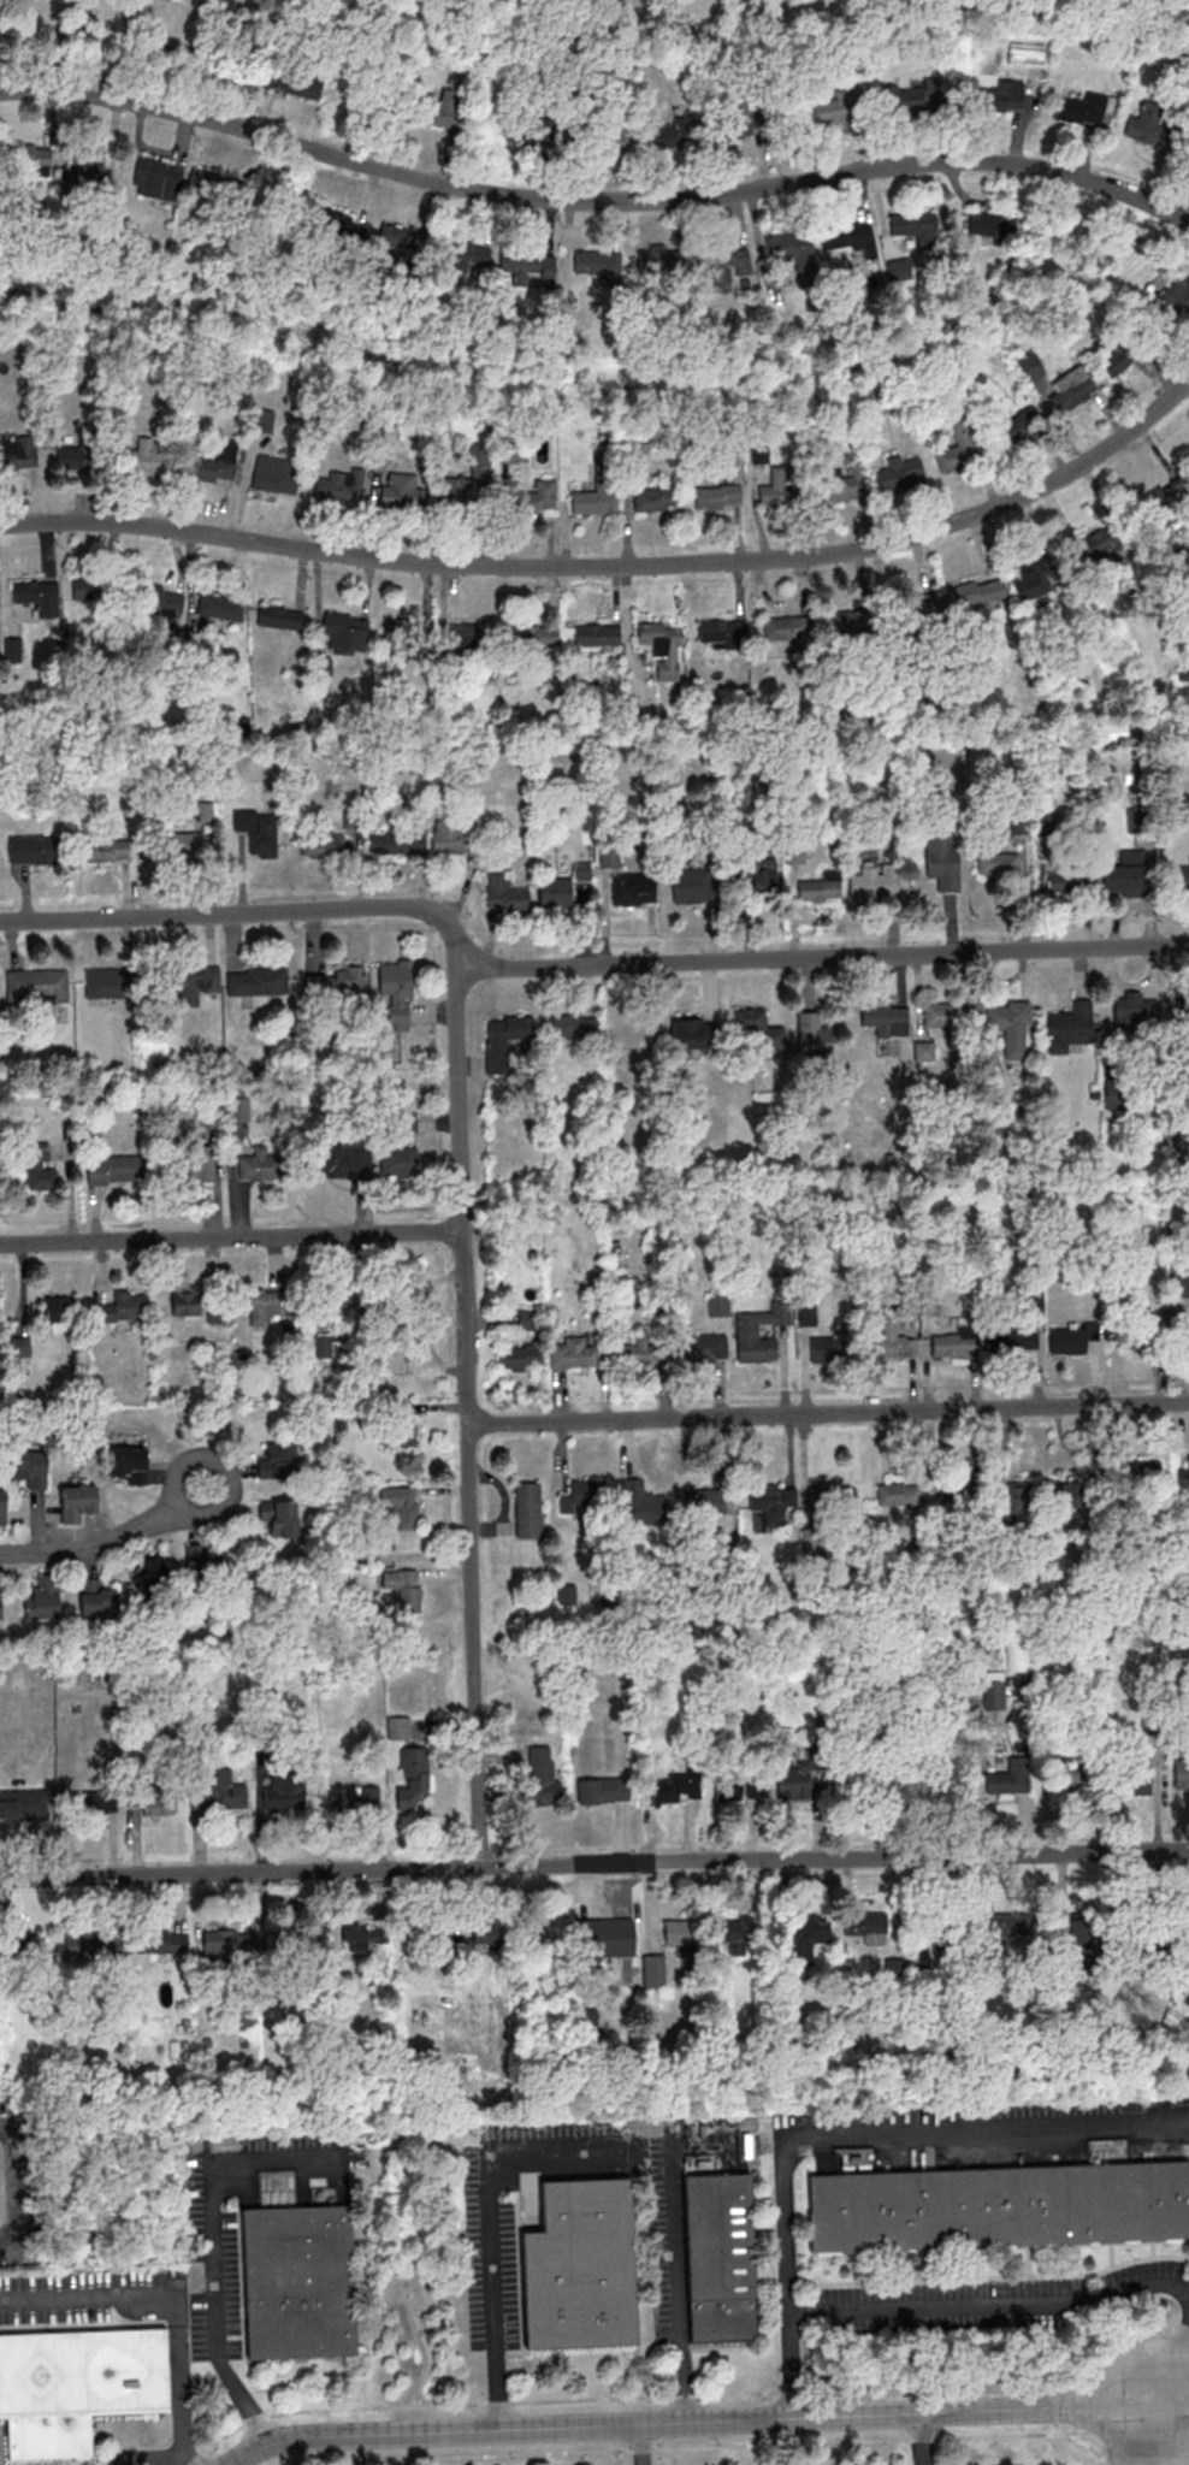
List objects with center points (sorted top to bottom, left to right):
building: (292, 79)
building: (1001, 96)
building: (910, 97)
building: (836, 107)
building: (439, 110)
building: (1082, 110)
building: (743, 122)
building: (1149, 122)
building: (613, 134)
building: (670, 134)
building: (526, 140)
building: (29, 156)
building: (83, 170)
building: (158, 178)
building: (217, 189)
road: (594, 199)
building: (336, 223)
building: (992, 225)
building: (917, 227)
building: (398, 236)
building: (852, 237)
building: (787, 246)
building: (466, 254)
building: (728, 264)
building: (662, 265)
building: (530, 266)
building: (598, 266)
building: (1176, 297)
building: (1114, 357)
building: (1030, 368)
building: (1071, 386)
building: (262, 420)
building: (1022, 425)
building: (959, 445)
building: (18, 454)
building: (508, 454)
building: (146, 455)
building: (75, 456)
building: (217, 462)
building: (900, 472)
building: (276, 474)
building: (471, 483)
building: (842, 484)
building: (339, 485)
building: (776, 487)
building: (400, 490)
building: (717, 495)
building: (536, 497)
building: (657, 497)
building: (593, 501)
building: (1166, 502)
building: (1105, 543)
road: (616, 566)
building: (1034, 579)
building: (87, 587)
building: (978, 591)
building: (37, 596)
building: (161, 602)
building: (220, 605)
building: (919, 607)
building: (280, 617)
building: (850, 620)
building: (345, 631)
building: (788, 631)
building: (408, 633)
building: (465, 633)
building: (597, 633)
building: (722, 633)
building: (533, 636)
building: (663, 646)
building: (1179, 755)
building: (256, 832)
building: (454, 838)
building: (397, 841)
building: (183, 844)
building: (324, 844)
building: (32, 847)
building: (103, 850)
building: (942, 861)
building: (998, 863)
building: (1126, 871)
building: (1181, 876)
building: (762, 879)
building: (1069, 881)
building: (874, 883)
building: (691, 885)
building: (820, 888)
building: (633, 889)
building: (555, 892)
building: (505, 893)
road: (248, 911)
road: (823, 957)
building: (391, 977)
building: (254, 980)
building: (185, 981)
building: (330, 981)
building: (113, 983)
building: (34, 985)
building: (1188, 1007)
building: (945, 1013)
building: (1129, 1013)
building: (886, 1017)
building: (1070, 1024)
building: (573, 1025)
building: (1010, 1027)
building: (759, 1028)
building: (694, 1031)
building: (812, 1035)
building: (504, 1039)
building: (924, 1050)
building: (477, 1065)
building: (341, 1160)
building: (398, 1160)
building: (196, 1163)
building: (258, 1164)
building: (41, 1169)
building: (113, 1170)
building: (900, 1211)
road: (231, 1235)
building: (338, 1295)
building: (261, 1304)
building: (196, 1305)
building: (718, 1305)
building: (123, 1307)
building: (58, 1311)
building: (1147, 1326)
building: (759, 1331)
building: (822, 1331)
building: (1185, 1332)
building: (1013, 1337)
building: (892, 1340)
building: (1067, 1340)
building: (950, 1344)
building: (702, 1347)
building: (641, 1348)
building: (573, 1353)
building: (520, 1358)
road: (829, 1411)
road: (468, 1417)
building: (403, 1424)
building: (278, 1461)
building: (130, 1462)
building: (30, 1467)
road: (223, 1468)
building: (1138, 1472)
building: (1183, 1476)
building: (587, 1491)
building: (1069, 1491)
building: (899, 1492)
building: (959, 1492)
building: (1018, 1495)
building: (833, 1497)
building: (77, 1501)
building: (773, 1501)
building: (643, 1503)
building: (702, 1503)
building: (400, 1505)
building: (2, 1506)
building: (528, 1509)
building: (280, 1517)
road: (87, 1545)
building: (202, 1567)
building: (152, 1580)
building: (404, 1588)
building: (254, 1590)
building: (93, 1596)
building: (45, 1598)
building: (0, 1604)
building: (993, 1695)
building: (398, 1726)
building: (1182, 1774)
building: (413, 1777)
building: (542, 1777)
building: (1011, 1777)
building: (1064, 1779)
building: (1132, 1779)
building: (756, 1783)
building: (792, 1783)
building: (876, 1784)
building: (729, 1785)
building: (676, 1787)
building: (601, 1790)
building: (284, 1793)
building: (219, 1796)
building: (354, 1796)
building: (93, 1802)
building: (155, 1802)
building: (23, 1804)
road: (594, 1863)
building: (1008, 1925)
building: (866, 1926)
building: (540, 1931)
building: (681, 1931)
building: (738, 1931)
building: (943, 1931)
building: (1177, 1933)
building: (356, 1937)
building: (604, 1938)
building: (806, 1938)
building: (1086, 1938)
building: (296, 1941)
building: (165, 1943)
building: (221, 1943)
building: (419, 1943)
building: (468, 1945)
building: (95, 1947)
building: (24, 1950)
building: (652, 1968)
building: (444, 2023)
building: (1163, 2030)
road: (11, 2183)
building: (999, 2205)
road: (783, 2229)
road: (211, 2244)
building: (721, 2256)
building: (580, 2265)
building: (297, 2280)
road: (674, 2286)
road: (171, 2290)
road: (489, 2298)
road: (1179, 2361)
road: (789, 2365)
building: (77, 2384)
road: (1181, 2399)
road: (698, 2423)
road: (1146, 2435)
road: (1172, 2435)
road: (918, 2440)
road: (635, 2445)
road: (153, 2459)
road: (189, 2461)

